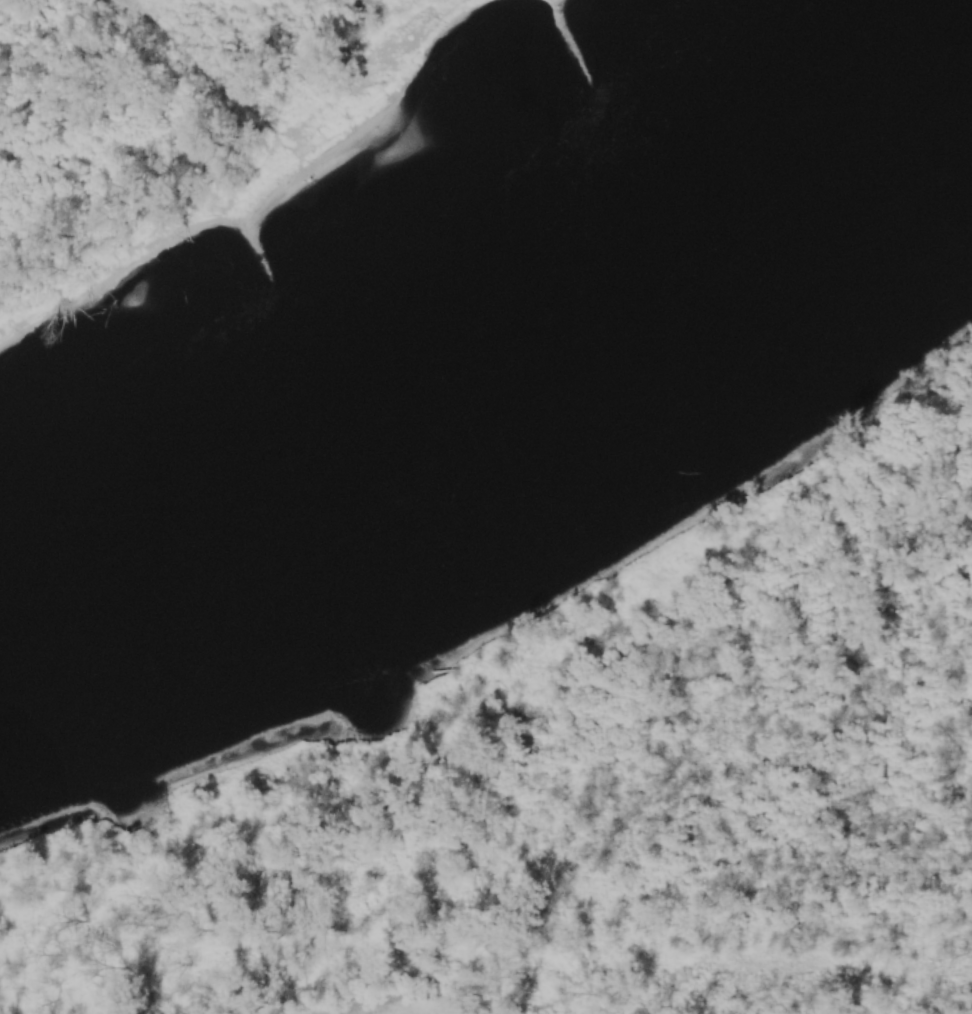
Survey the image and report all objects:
road: (134, 18)
park: (165, 121)
river: (515, 386)

